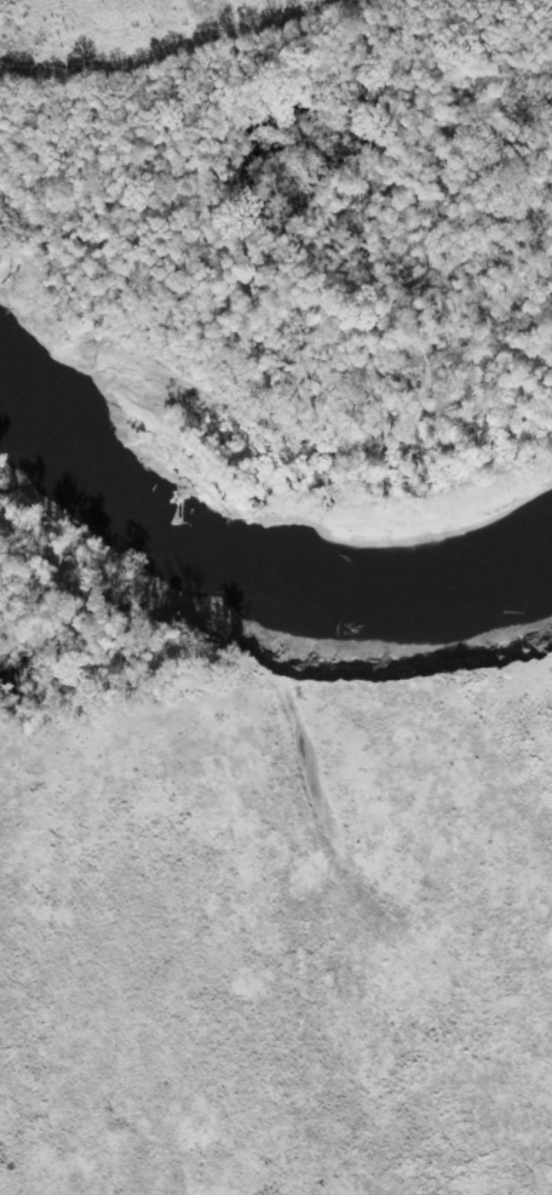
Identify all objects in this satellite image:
river: (253, 553)

